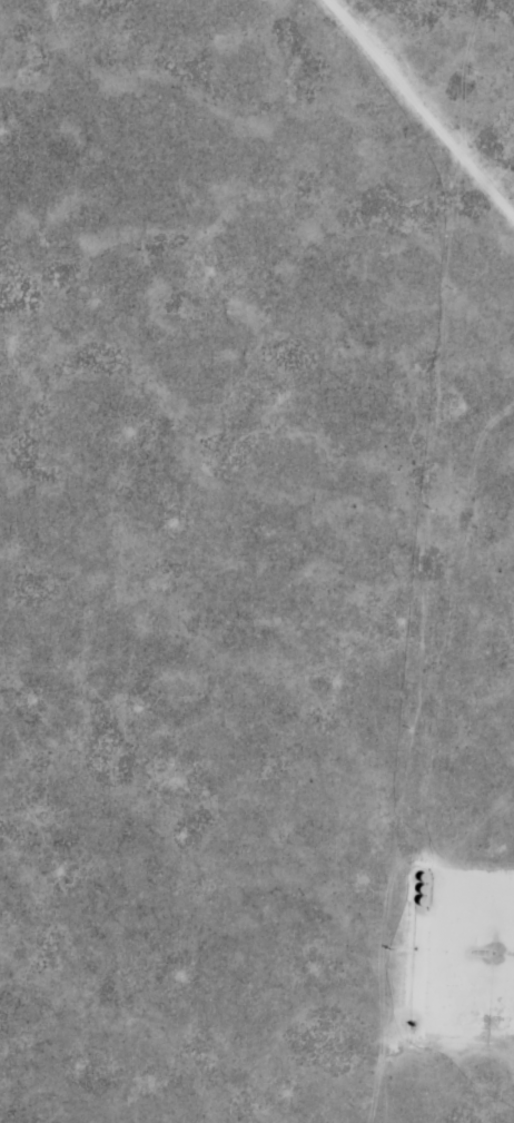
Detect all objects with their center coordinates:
road: (428, 96)

